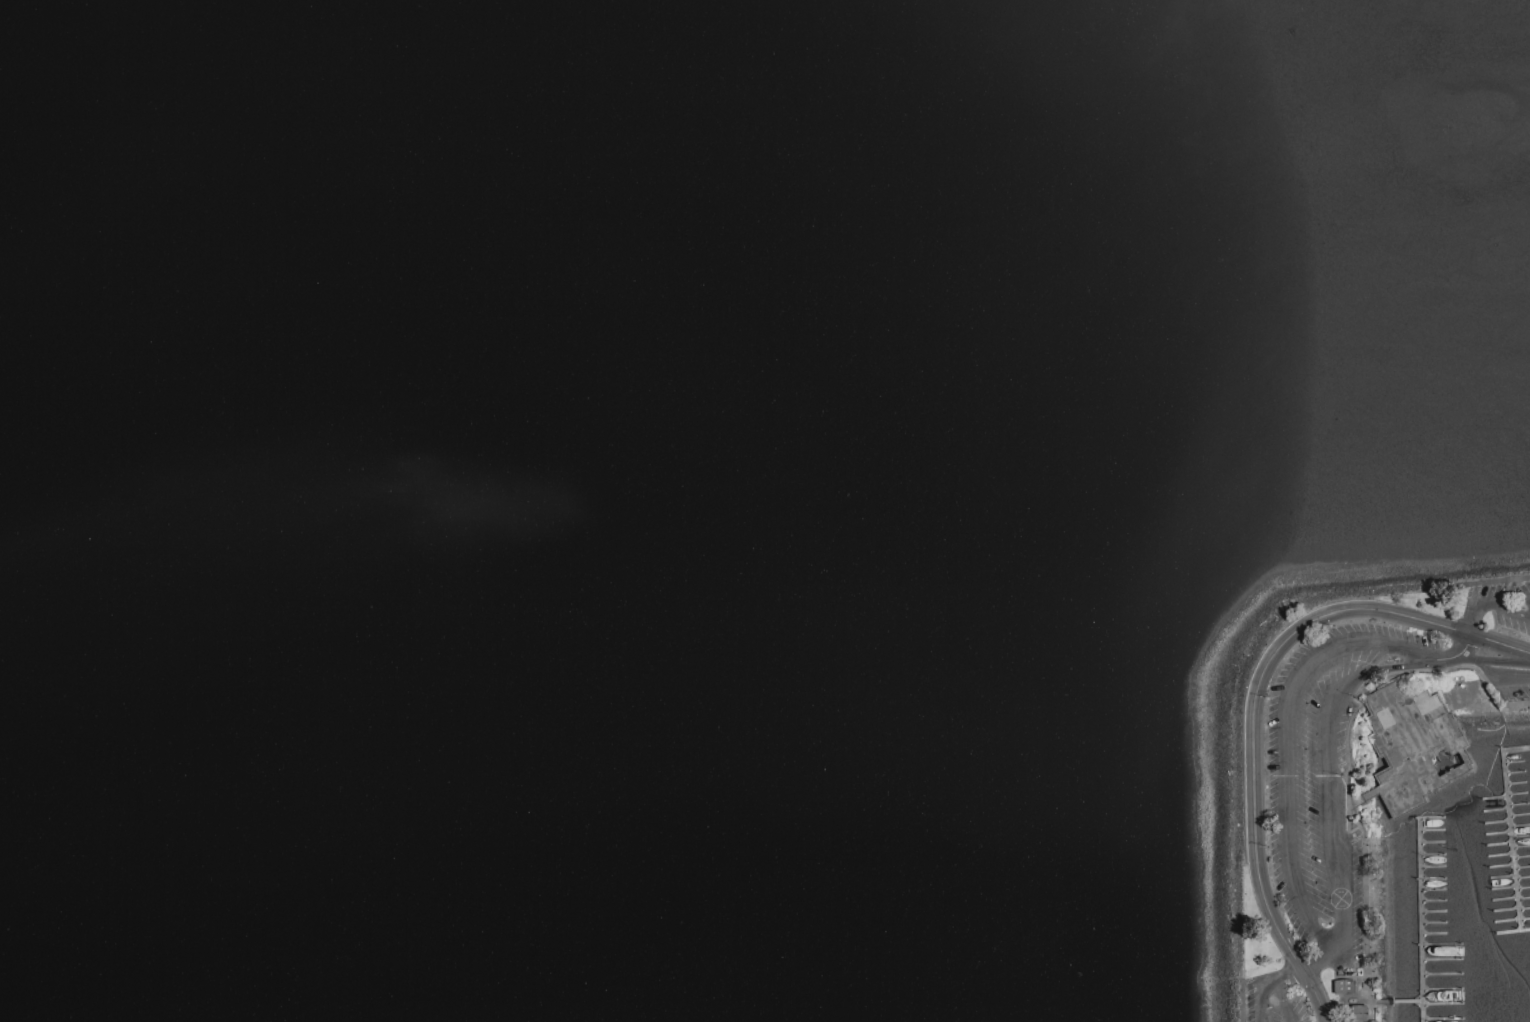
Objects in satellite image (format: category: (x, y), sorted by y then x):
road: (1480, 584)
road: (1475, 619)
road: (1253, 705)
building: (1416, 743)
road: (1350, 766)
pier: (1510, 827)
road: (1307, 917)
pier: (1424, 922)
road: (1303, 970)
building: (1345, 987)
road: (1241, 1001)
pier: (1396, 1002)
road: (1280, 1007)
road: (1262, 1008)
building: (1359, 1013)

